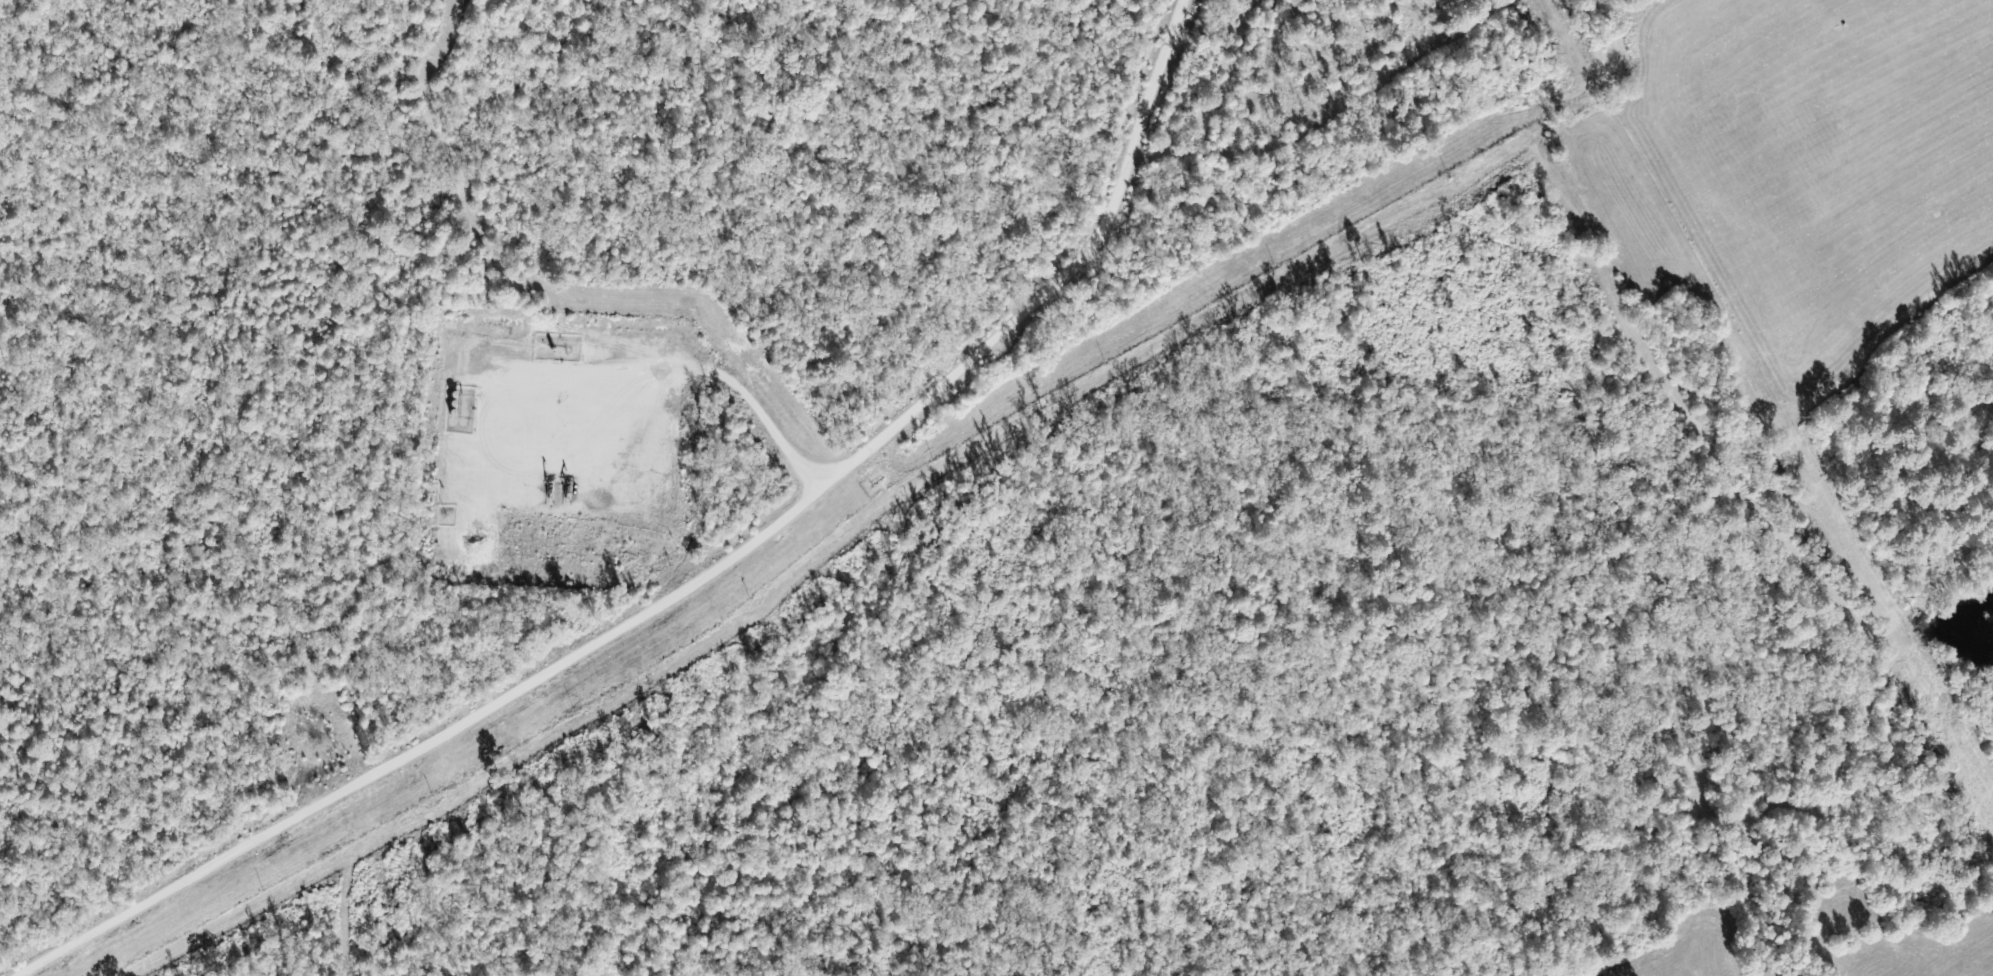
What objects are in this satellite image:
road: (698, 581)

